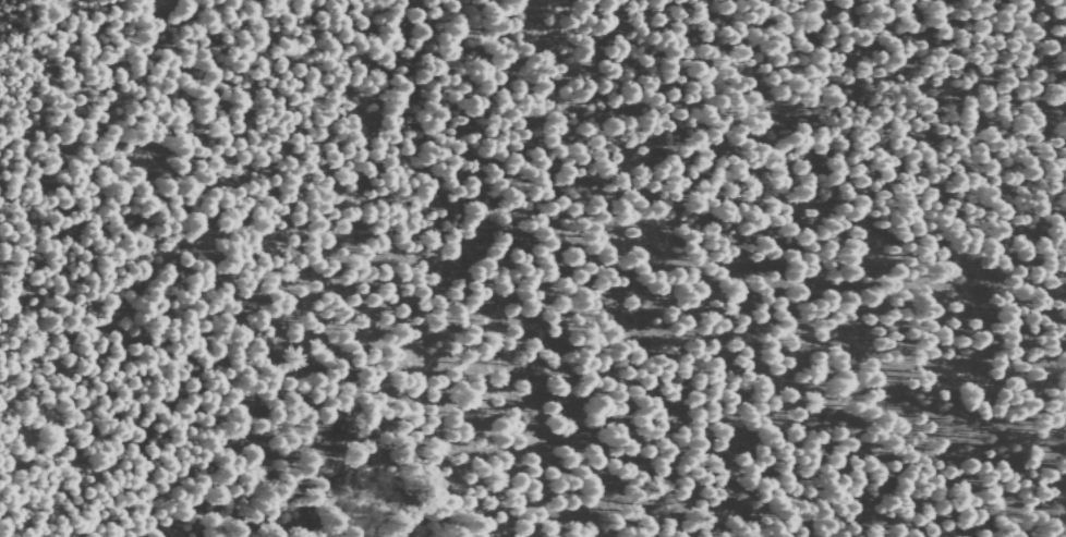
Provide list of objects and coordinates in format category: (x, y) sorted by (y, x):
road: (591, 305)

